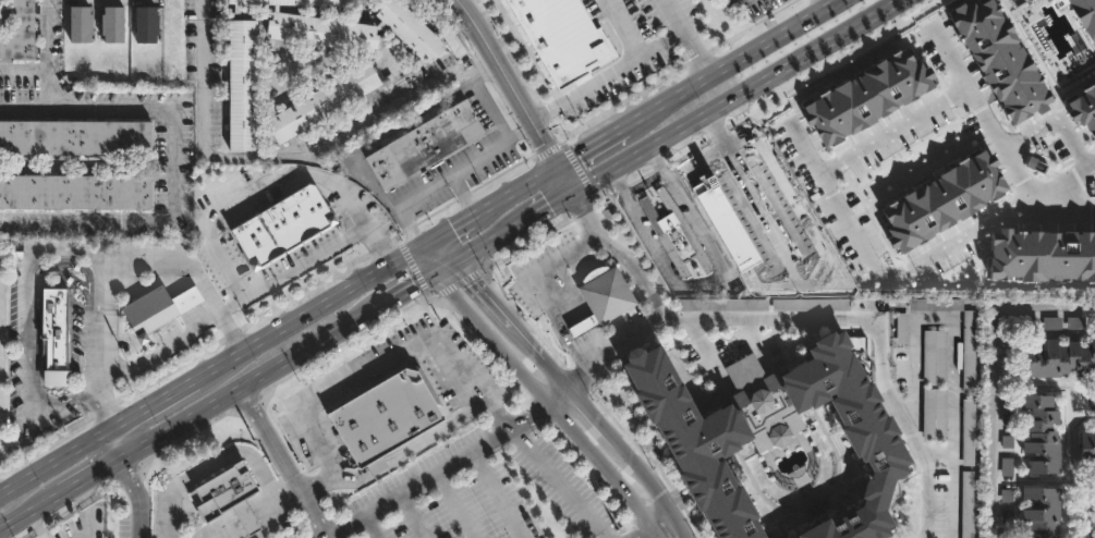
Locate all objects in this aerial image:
building: (291, 3)
road: (823, 4)
building: (80, 22)
building: (112, 22)
building: (146, 22)
building: (352, 27)
road: (623, 28)
building: (16, 29)
road: (45, 35)
road: (686, 38)
building: (568, 39)
road: (502, 58)
road: (739, 60)
road: (22, 70)
road: (610, 74)
building: (242, 84)
road: (761, 87)
road: (46, 88)
building: (323, 101)
road: (138, 107)
road: (984, 117)
road: (1058, 125)
road: (520, 130)
road: (718, 131)
road: (893, 133)
building: (74, 136)
road: (550, 140)
road: (600, 143)
building: (425, 145)
road: (293, 159)
road: (697, 159)
road: (466, 162)
traffic signals: (564, 164)
road: (571, 181)
road: (596, 186)
road: (520, 189)
building: (74, 191)
road: (463, 193)
building: (741, 193)
traffic signals: (577, 197)
road: (1076, 203)
road: (553, 209)
road: (764, 212)
road: (844, 217)
road: (85, 219)
road: (212, 220)
road: (1010, 223)
road: (723, 227)
road: (807, 227)
road: (449, 229)
building: (756, 229)
building: (674, 232)
road: (491, 242)
traffic signals: (424, 244)
road: (439, 253)
road: (621, 256)
road: (429, 258)
traffic signals: (454, 261)
road: (31, 267)
road: (445, 267)
road: (194, 271)
traffic signals: (435, 273)
road: (705, 283)
road: (412, 288)
road: (540, 290)
road: (483, 294)
building: (603, 296)
road: (231, 306)
building: (716, 306)
building: (812, 306)
building: (159, 309)
road: (307, 311)
road: (823, 315)
building: (903, 329)
building: (61, 341)
road: (526, 343)
road: (161, 351)
building: (970, 353)
building: (936, 358)
building: (1059, 358)
building: (899, 364)
road: (368, 368)
road: (553, 375)
road: (998, 375)
road: (260, 379)
road: (557, 395)
road: (155, 403)
road: (549, 405)
road: (107, 406)
building: (1010, 412)
building: (386, 415)
building: (936, 415)
road: (591, 416)
building: (969, 432)
building: (1042, 433)
road: (124, 441)
building: (786, 445)
building: (1087, 447)
building: (1008, 456)
road: (58, 460)
road: (214, 463)
road: (287, 463)
road: (436, 470)
road: (99, 477)
road: (558, 480)
road: (653, 487)
road: (495, 493)
building: (224, 496)
road: (139, 497)
building: (941, 503)
road: (455, 504)
building: (969, 504)
building: (1042, 511)
road: (276, 512)
road: (33, 515)
road: (410, 516)
road: (367, 527)
road: (655, 527)

